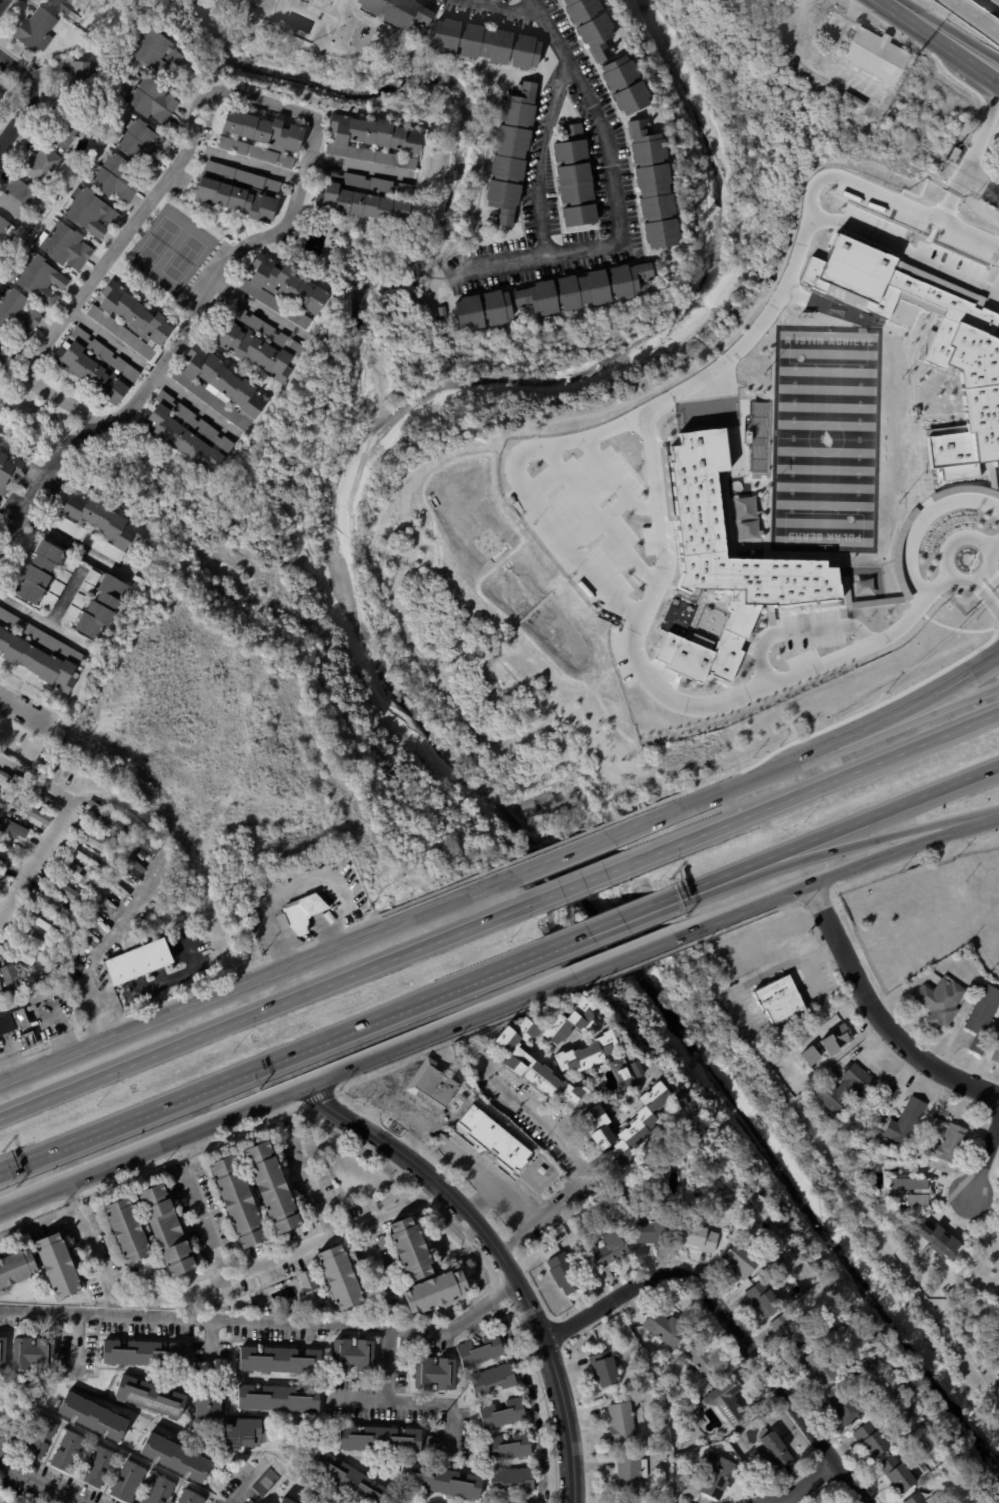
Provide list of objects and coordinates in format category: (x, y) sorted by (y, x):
road: (2, 3)
road: (504, 5)
building: (71, 7)
building: (395, 12)
road: (973, 18)
building: (589, 27)
road: (919, 29)
road: (951, 29)
building: (36, 30)
building: (484, 45)
road: (830, 50)
building: (152, 51)
building: (875, 56)
road: (980, 71)
road: (19, 74)
building: (81, 81)
building: (622, 86)
building: (833, 88)
building: (0, 91)
building: (0, 95)
building: (150, 99)
building: (853, 100)
road: (272, 103)
building: (873, 112)
road: (15, 121)
building: (68, 128)
building: (263, 132)
building: (374, 143)
building: (140, 144)
road: (200, 147)
building: (255, 153)
building: (509, 153)
road: (973, 154)
building: (954, 155)
road: (544, 158)
building: (41, 165)
road: (257, 165)
road: (360, 165)
building: (115, 179)
building: (573, 179)
building: (651, 186)
building: (238, 192)
road: (615, 195)
building: (17, 198)
building: (366, 199)
building: (89, 212)
road: (970, 229)
building: (4, 234)
park: (160, 240)
building: (63, 245)
road: (906, 249)
park: (183, 258)
road: (107, 263)
building: (40, 281)
building: (282, 290)
building: (552, 297)
road: (263, 309)
building: (17, 313)
building: (129, 320)
road: (179, 341)
road: (116, 342)
building: (259, 346)
building: (8, 350)
building: (2, 366)
building: (96, 368)
building: (219, 386)
road: (198, 404)
building: (917, 410)
building: (185, 435)
building: (759, 437)
park: (826, 438)
road: (520, 457)
building: (8, 468)
road: (599, 515)
road: (920, 523)
building: (97, 527)
road: (660, 528)
road: (79, 546)
road: (992, 548)
road: (954, 549)
road: (988, 557)
building: (724, 563)
road: (991, 568)
building: (43, 576)
road: (978, 576)
road: (995, 580)
road: (957, 584)
road: (66, 596)
road: (983, 596)
building: (94, 604)
road: (45, 621)
road: (797, 631)
building: (38, 652)
building: (494, 664)
road: (25, 713)
road: (905, 723)
road: (814, 756)
road: (34, 781)
building: (8, 782)
road: (817, 787)
building: (30, 791)
building: (0, 795)
building: (44, 803)
building: (2, 804)
building: (90, 807)
building: (31, 812)
building: (7, 814)
road: (993, 817)
road: (872, 818)
building: (112, 827)
building: (11, 830)
building: (130, 831)
building: (97, 842)
road: (865, 843)
building: (142, 854)
building: (8, 856)
road: (36, 856)
road: (565, 857)
building: (89, 860)
building: (75, 873)
road: (836, 875)
building: (2, 877)
road: (297, 884)
road: (581, 885)
road: (707, 886)
building: (63, 887)
road: (136, 893)
building: (55, 908)
building: (303, 912)
building: (318, 921)
building: (41, 924)
road: (609, 924)
building: (35, 940)
building: (18, 954)
road: (630, 958)
building: (136, 962)
building: (14, 978)
road: (255, 981)
building: (1, 992)
building: (41, 992)
building: (779, 999)
building: (941, 1002)
road: (263, 1013)
road: (878, 1016)
building: (13, 1021)
building: (983, 1021)
building: (569, 1023)
building: (837, 1039)
building: (26, 1041)
building: (589, 1054)
building: (810, 1055)
building: (996, 1055)
road: (274, 1057)
building: (535, 1064)
building: (636, 1069)
building: (625, 1074)
building: (480, 1078)
building: (434, 1084)
building: (845, 1088)
building: (527, 1093)
road: (285, 1096)
building: (460, 1100)
road: (395, 1101)
building: (518, 1118)
building: (905, 1121)
building: (599, 1127)
building: (639, 1127)
building: (947, 1138)
building: (494, 1141)
building: (583, 1147)
building: (558, 1156)
road: (985, 1159)
building: (532, 1169)
building: (541, 1171)
road: (582, 1175)
road: (310, 1179)
building: (906, 1182)
building: (547, 1183)
building: (271, 1186)
building: (698, 1187)
building: (689, 1197)
building: (915, 1198)
building: (238, 1201)
road: (205, 1219)
road: (39, 1225)
building: (125, 1230)
building: (165, 1230)
building: (654, 1230)
building: (699, 1238)
building: (936, 1240)
building: (409, 1246)
building: (608, 1248)
road: (501, 1258)
building: (737, 1260)
building: (56, 1266)
building: (15, 1268)
building: (563, 1272)
road: (226, 1277)
building: (338, 1277)
building: (309, 1289)
building: (435, 1291)
building: (763, 1299)
road: (729, 1322)
road: (265, 1324)
building: (665, 1328)
building: (792, 1332)
building: (481, 1350)
building: (2, 1351)
building: (142, 1353)
building: (32, 1354)
building: (352, 1355)
building: (277, 1360)
building: (705, 1361)
road: (388, 1364)
building: (816, 1368)
building: (603, 1369)
building: (434, 1374)
building: (858, 1377)
building: (492, 1379)
building: (152, 1394)
building: (743, 1394)
building: (278, 1398)
building: (726, 1400)
building: (207, 1401)
road: (416, 1401)
building: (699, 1403)
building: (843, 1403)
building: (503, 1413)
building: (93, 1419)
building: (621, 1422)
building: (244, 1433)
building: (37, 1436)
building: (871, 1436)
building: (735, 1437)
building: (380, 1439)
building: (429, 1442)
road: (4, 1445)
building: (508, 1447)
building: (776, 1449)
building: (68, 1451)
building: (176, 1459)
building: (95, 1466)
building: (933, 1467)
building: (897, 1471)
building: (716, 1474)
building: (630, 1475)
building: (350, 1478)
building: (512, 1479)
building: (127, 1481)
building: (439, 1482)
road: (809, 1482)
road: (37, 1484)
road: (241, 1489)
building: (156, 1490)
building: (189, 1497)
building: (657, 1498)
building: (916, 1499)
building: (289, 1500)
building: (495, 1502)
building: (527, 1502)

